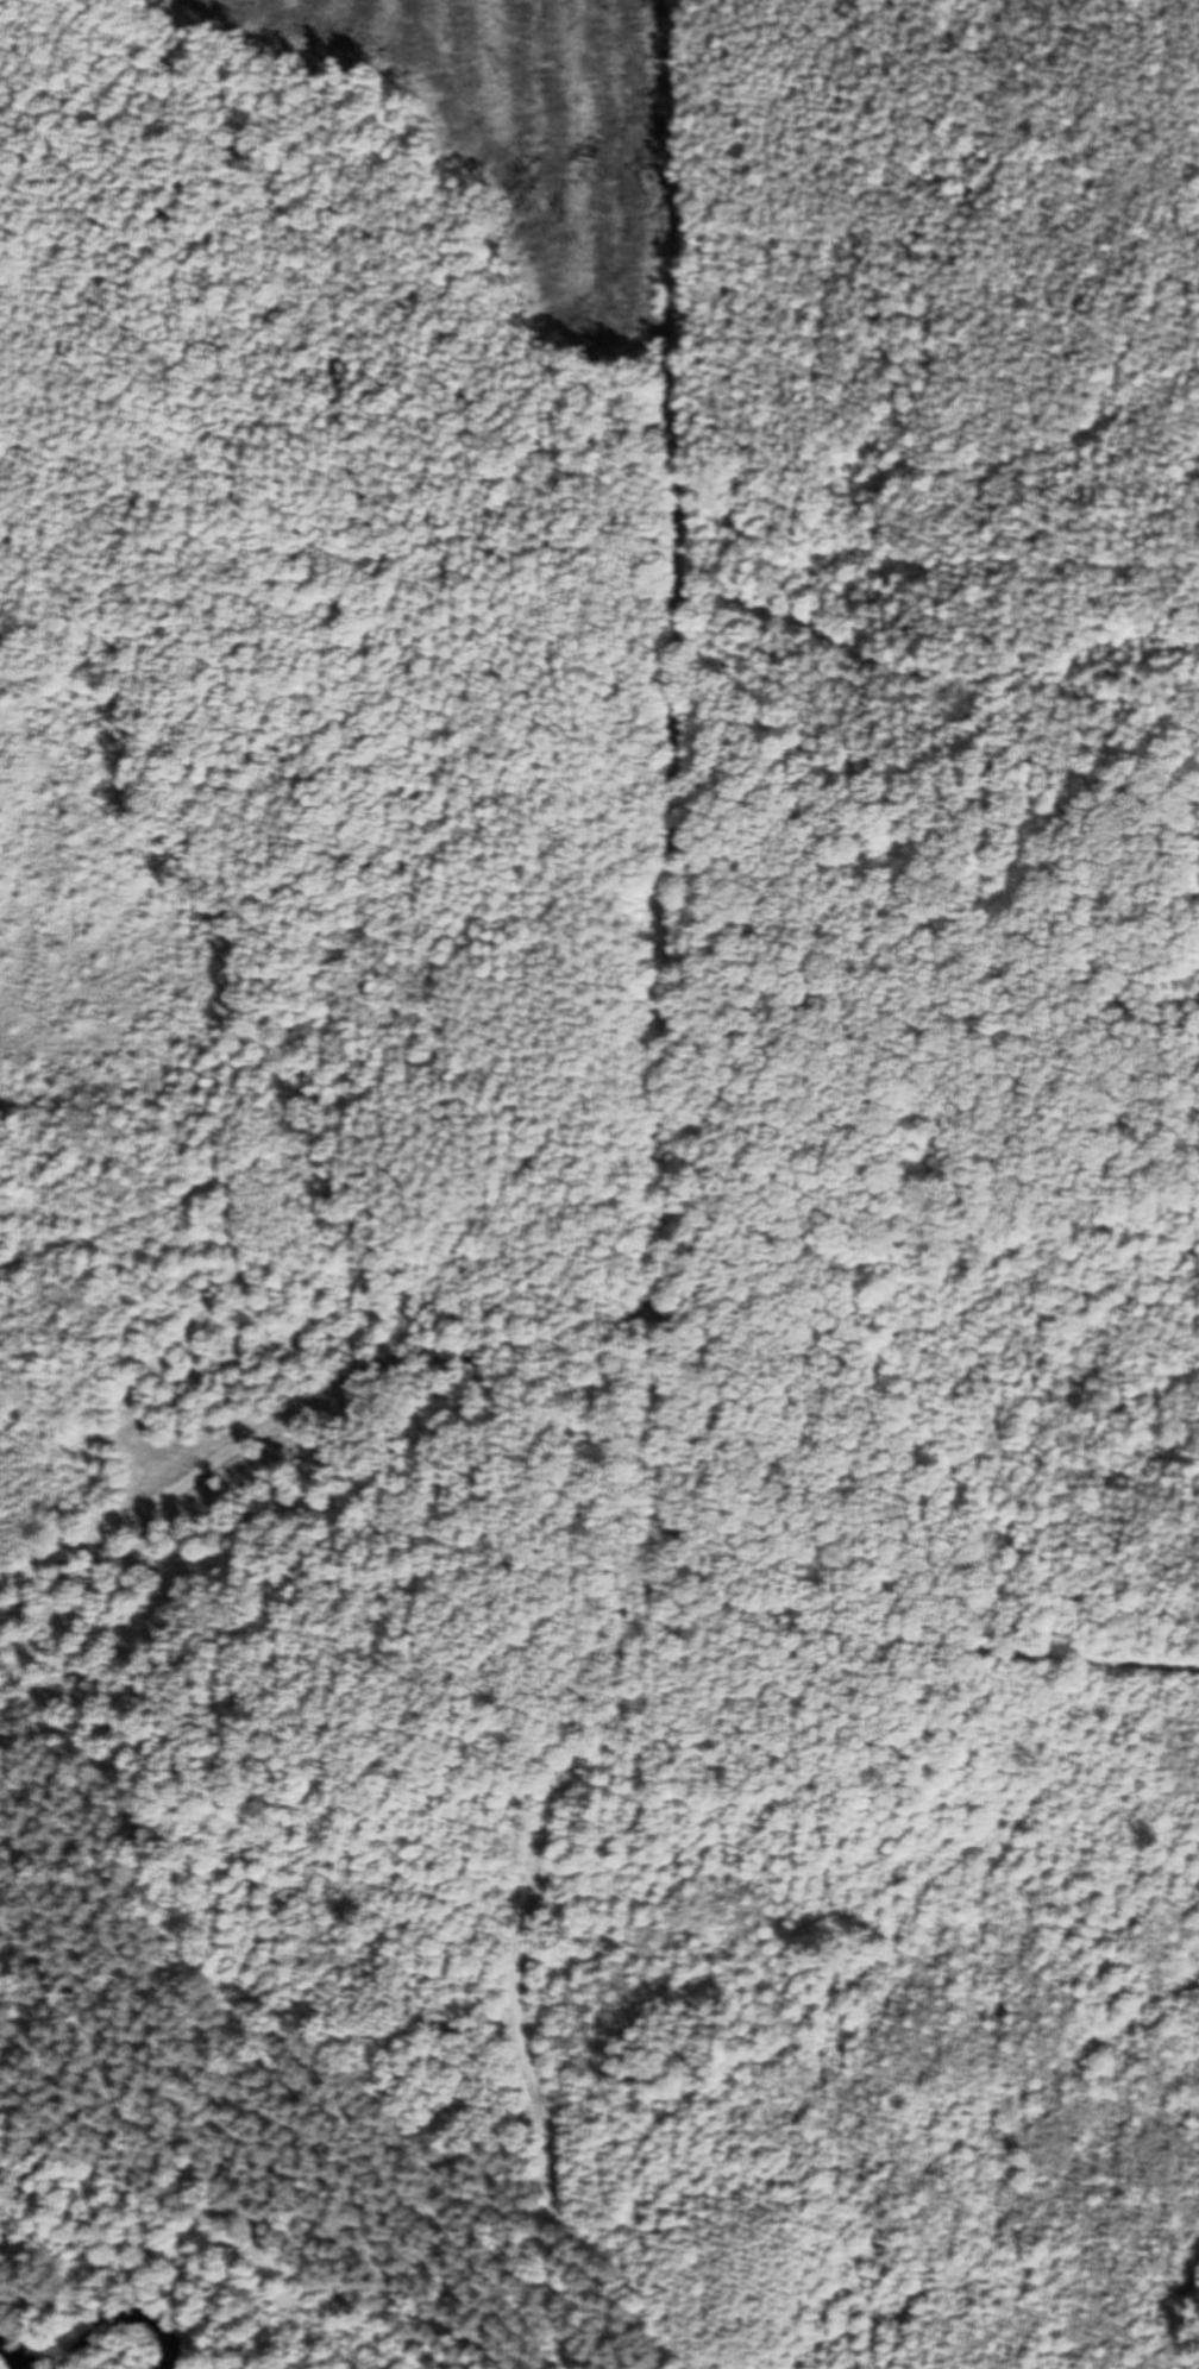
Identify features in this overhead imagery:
road: (237, 2174)

